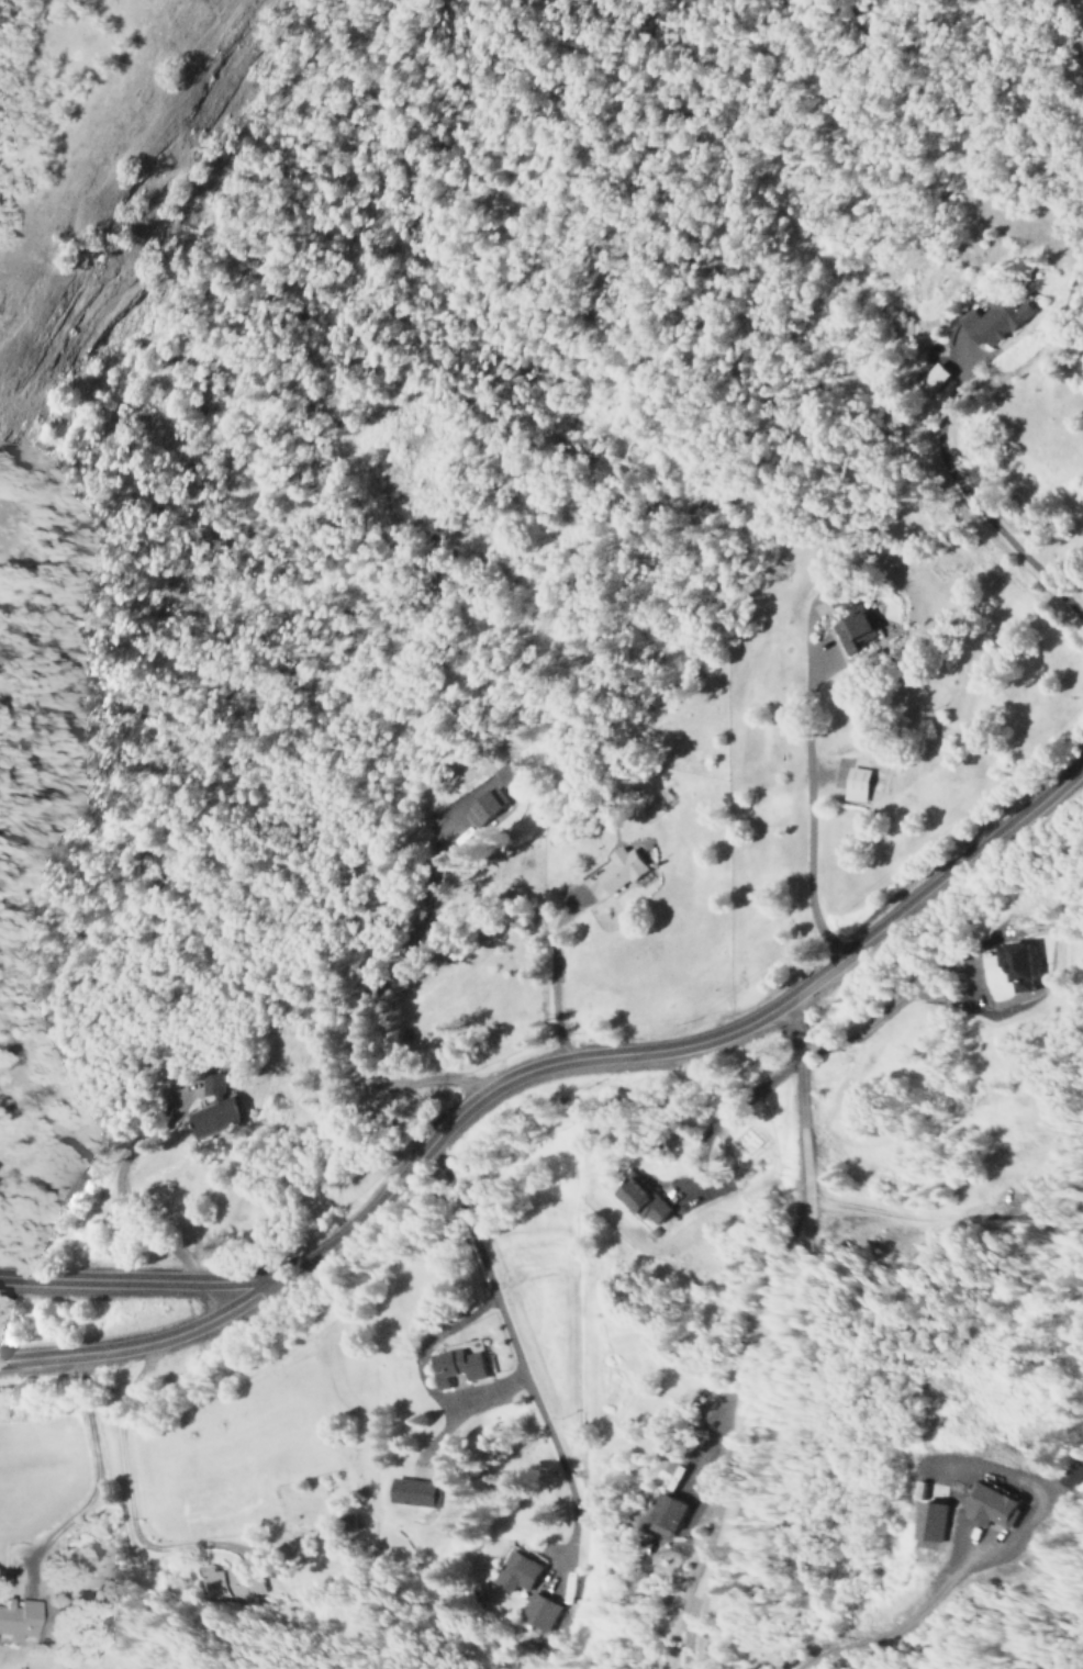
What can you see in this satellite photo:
building: (992, 321)
building: (931, 379)
building: (850, 632)
building: (851, 784)
building: (487, 808)
building: (623, 869)
building: (1012, 965)
road: (676, 1041)
building: (217, 1106)
building: (646, 1201)
road: (130, 1280)
road: (764, 1330)
road: (133, 1336)
building: (460, 1363)
road: (525, 1365)
road: (425, 1382)
building: (415, 1492)
building: (994, 1508)
building: (669, 1515)
building: (935, 1521)
building: (520, 1572)
building: (232, 1581)
road: (956, 1588)
building: (539, 1611)
building: (18, 1618)

